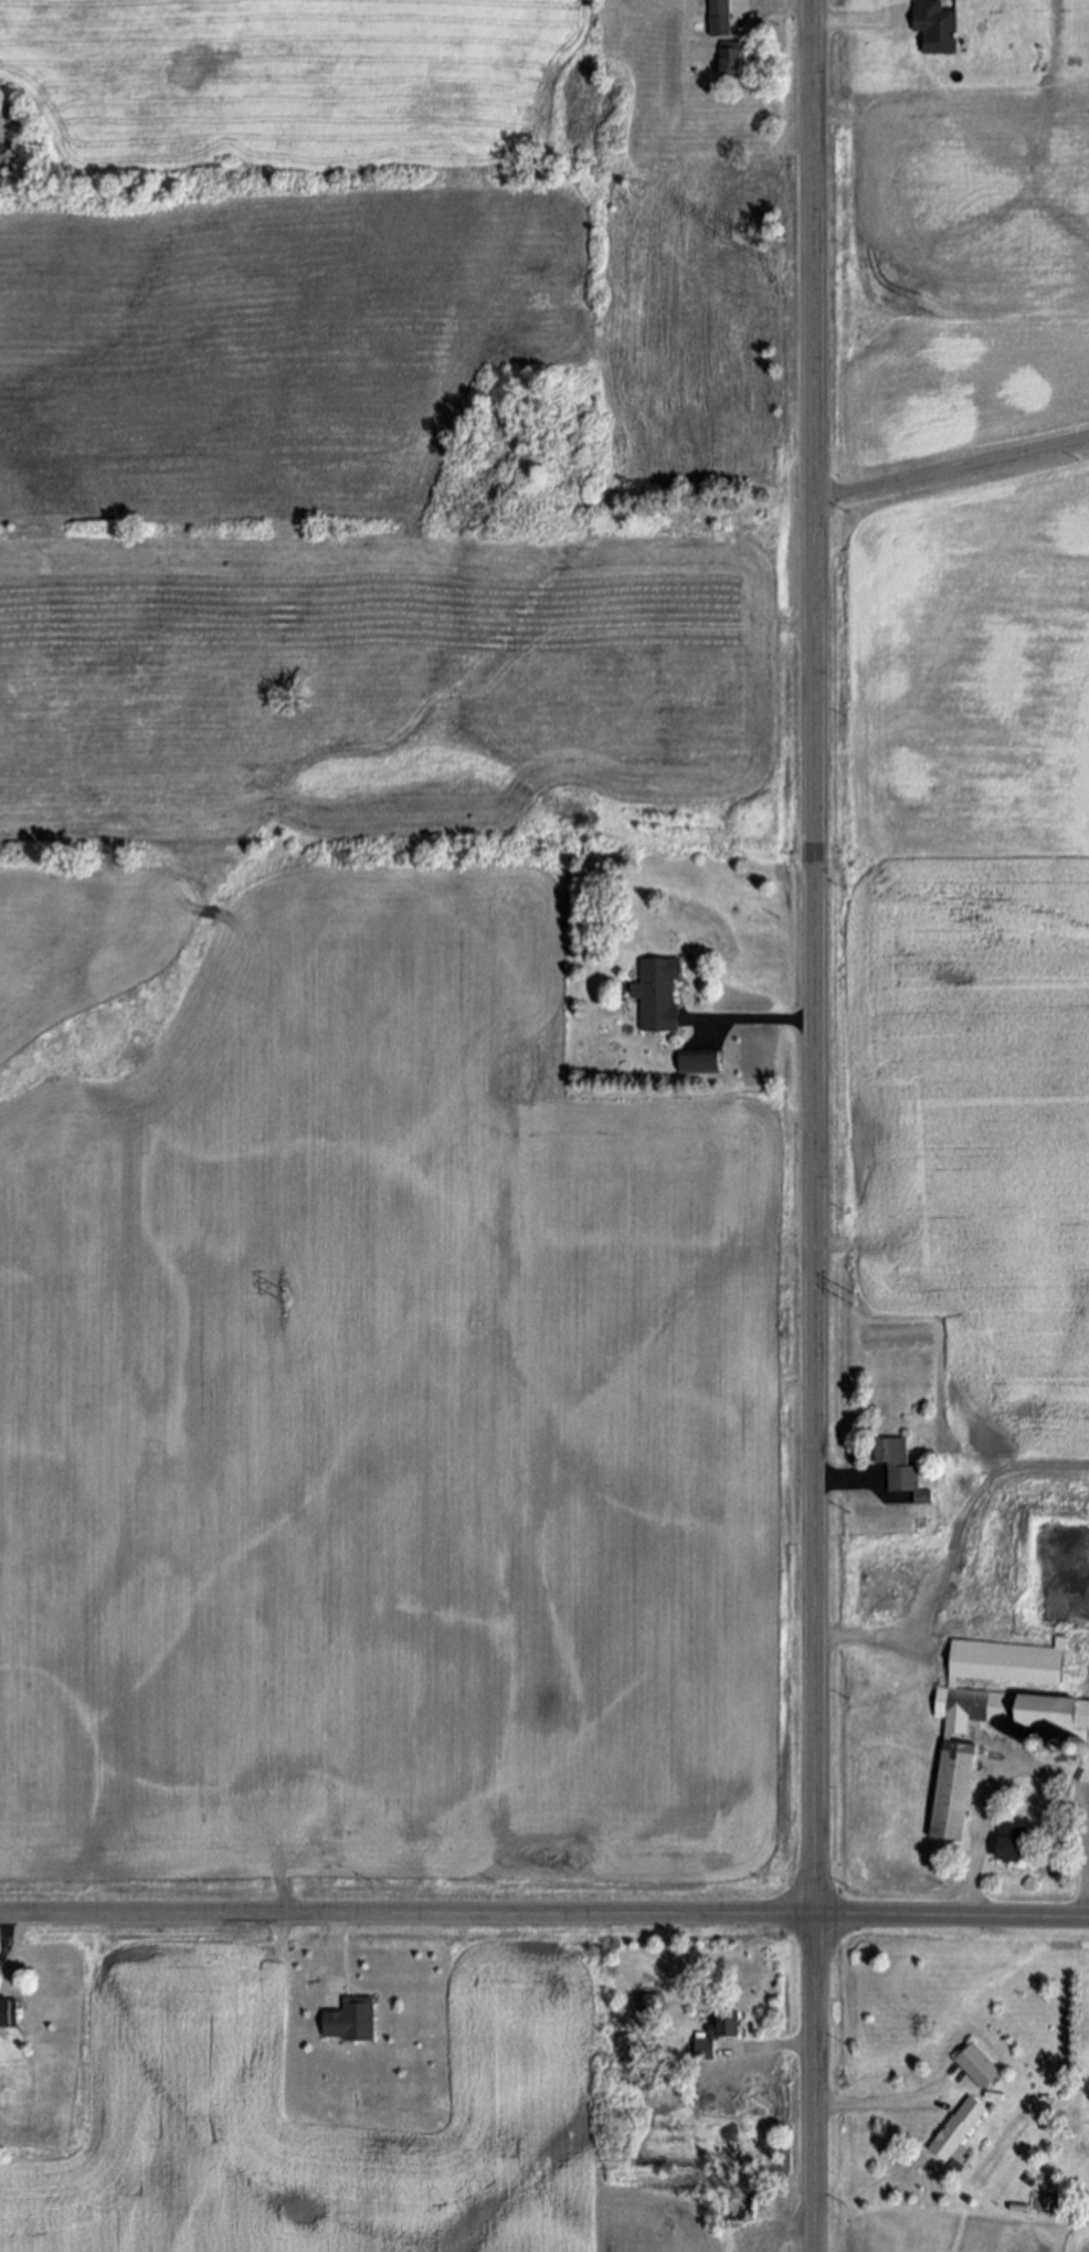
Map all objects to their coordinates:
road: (782, 6)
building: (721, 18)
building: (938, 25)
building: (732, 61)
road: (952, 469)
crop: (385, 980)
building: (658, 994)
road: (762, 1021)
building: (699, 1064)
road: (815, 1125)
power tower: (293, 1299)
power tower: (852, 1302)
building: (897, 1466)
road: (844, 1483)
building: (905, 1564)
road: (877, 1636)
building: (993, 1715)
road: (1033, 1766)
building: (1012, 1844)
road: (544, 1914)
road: (334, 1954)
building: (651, 2003)
building: (6, 2016)
building: (352, 2021)
crop: (182, 2022)
building: (730, 2023)
building: (979, 2068)
road: (879, 2103)
building: (958, 2131)

